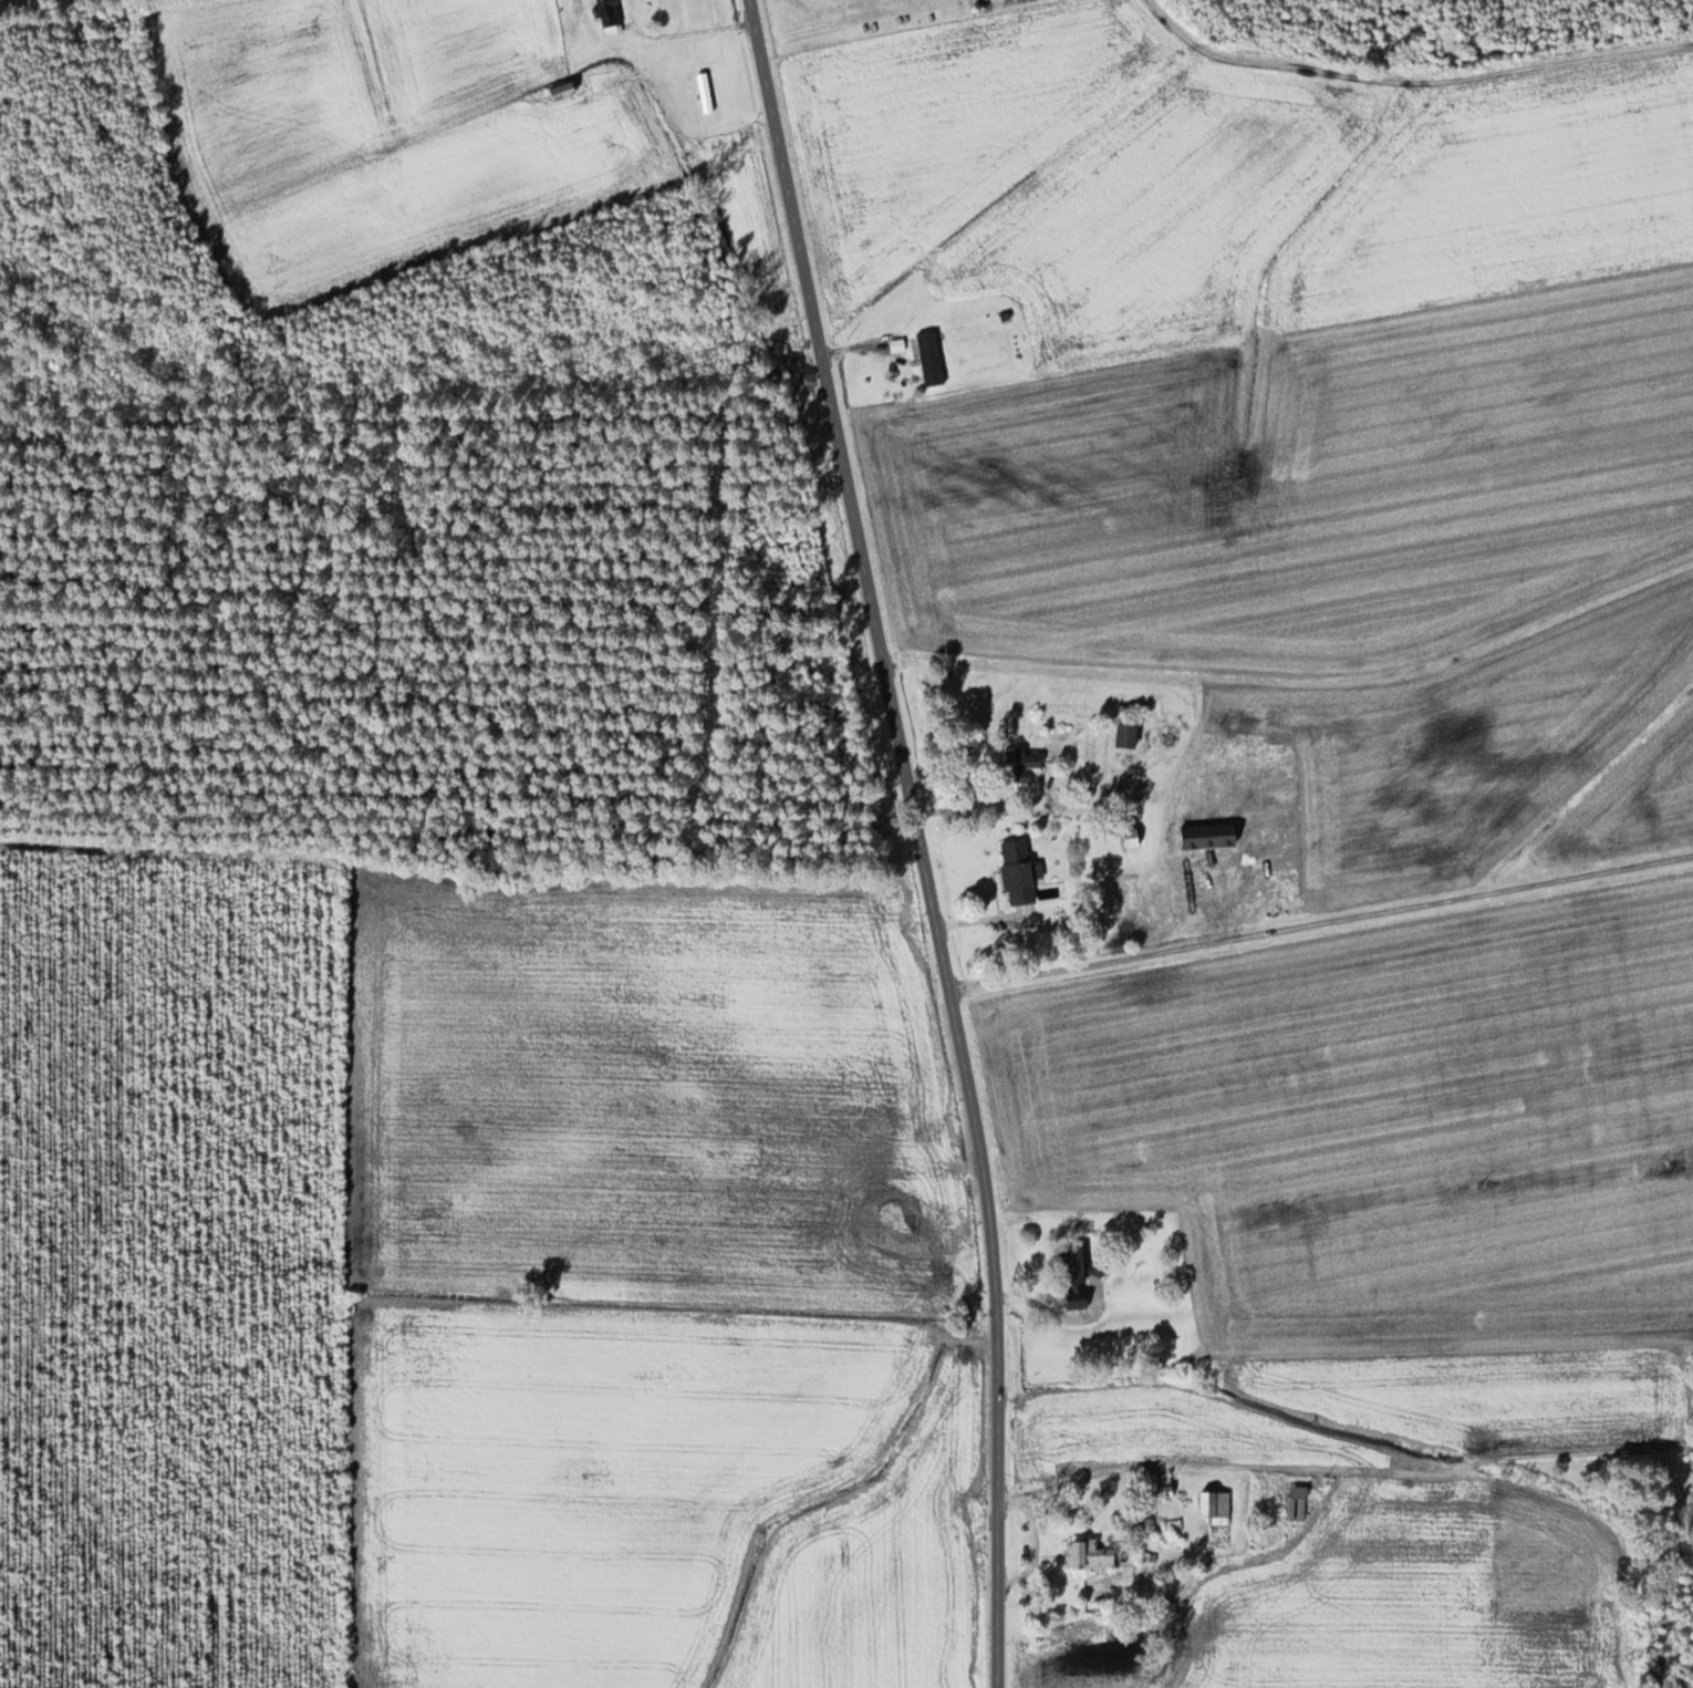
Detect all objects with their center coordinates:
road: (1159, 9)
building: (609, 15)
building: (706, 91)
building: (934, 358)
building: (1131, 734)
building: (1029, 762)
road: (918, 839)
building: (1136, 878)
building: (1026, 883)
road: (1321, 923)
building: (1082, 1281)
road: (1343, 1470)
building: (1163, 1485)
building: (1299, 1502)
building: (1218, 1506)
building: (1093, 1555)

